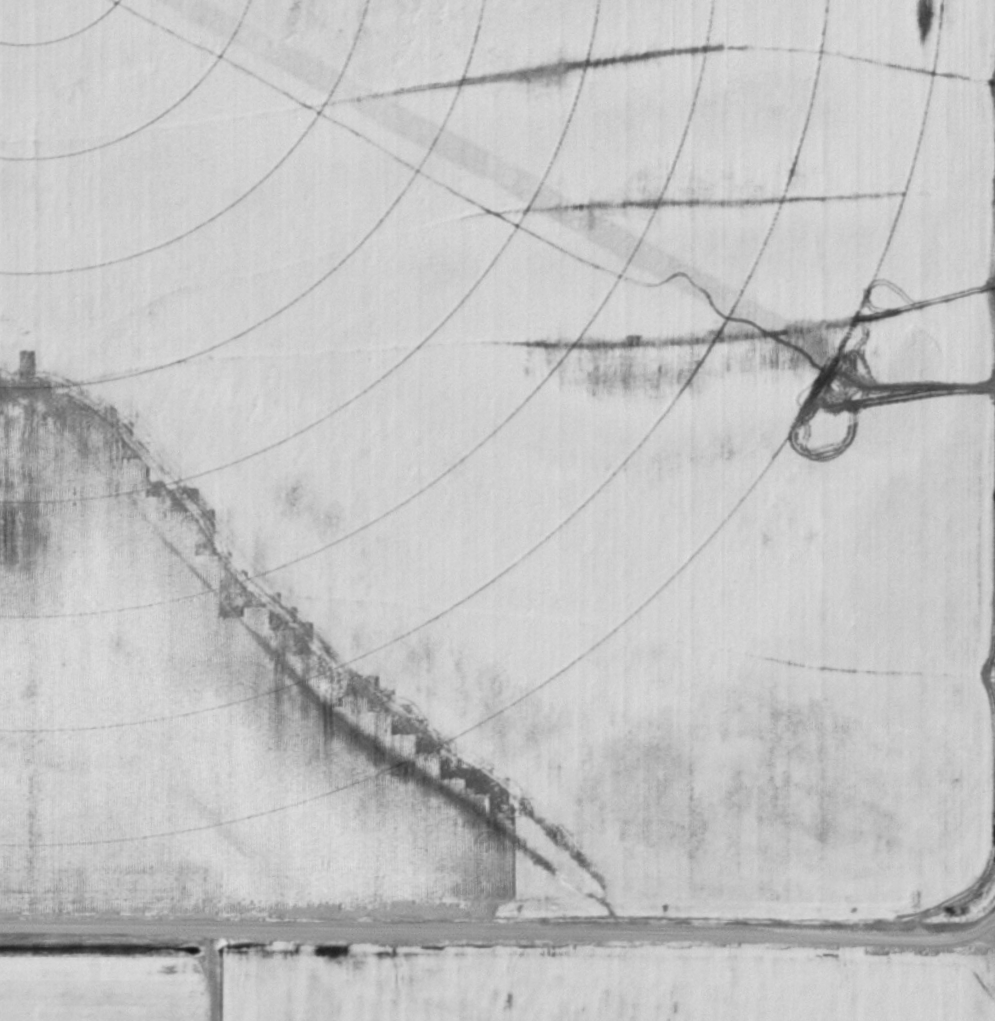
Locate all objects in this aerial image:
road: (501, 931)
road: (220, 975)

